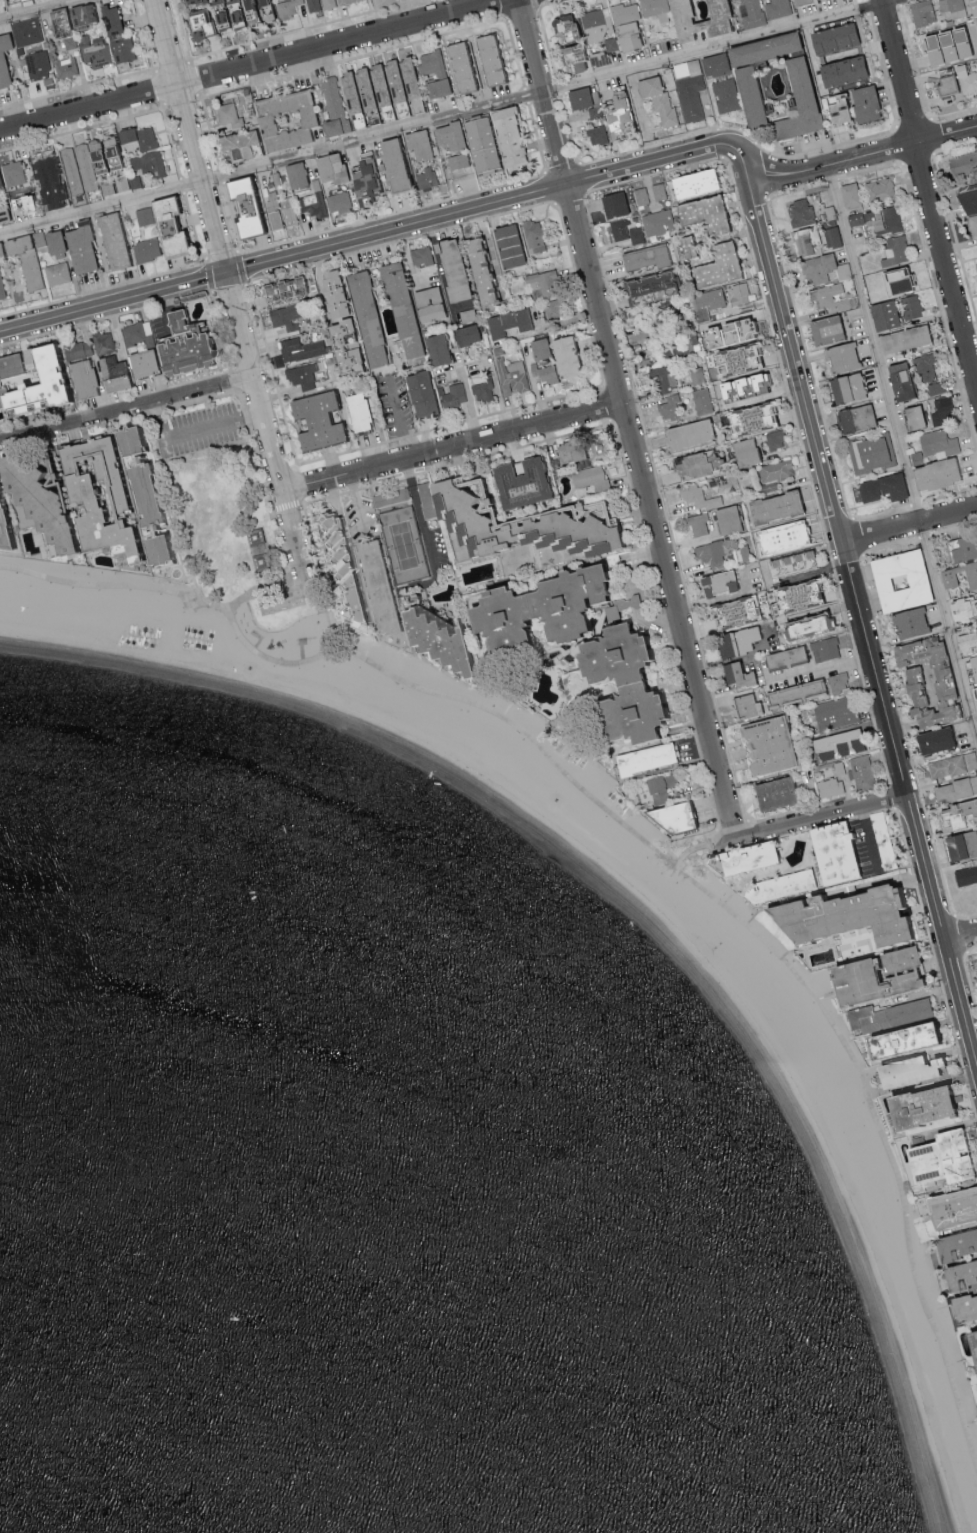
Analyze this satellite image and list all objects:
building: (190, 1)
building: (345, 1)
road: (548, 1)
road: (552, 1)
building: (797, 1)
road: (899, 2)
building: (328, 3)
building: (775, 7)
road: (866, 7)
building: (952, 7)
road: (37, 9)
road: (505, 9)
building: (286, 10)
road: (524, 10)
building: (81, 12)
building: (921, 12)
building: (751, 14)
building: (973, 15)
building: (688, 16)
building: (109, 19)
building: (199, 23)
building: (596, 23)
building: (625, 24)
building: (60, 25)
building: (564, 27)
road: (301, 29)
building: (25, 30)
road: (184, 31)
road: (143, 34)
building: (831, 37)
road: (545, 38)
building: (944, 44)
building: (121, 47)
building: (761, 47)
building: (94, 50)
road: (514, 54)
building: (572, 56)
road: (355, 57)
building: (597, 57)
building: (3, 58)
building: (429, 63)
building: (714, 63)
building: (37, 65)
building: (65, 66)
road: (172, 66)
building: (458, 66)
road: (915, 66)
road: (255, 67)
road: (882, 69)
building: (840, 70)
road: (192, 78)
building: (966, 78)
building: (345, 81)
building: (394, 82)
building: (945, 84)
building: (363, 86)
building: (436, 86)
road: (557, 86)
road: (78, 87)
road: (160, 87)
building: (725, 94)
building: (748, 94)
road: (525, 95)
building: (578, 97)
building: (690, 97)
road: (181, 98)
building: (657, 99)
building: (798, 101)
building: (863, 102)
building: (332, 107)
building: (835, 107)
building: (614, 112)
road: (958, 112)
building: (227, 114)
road: (640, 116)
road: (445, 117)
building: (284, 118)
road: (897, 126)
road: (738, 127)
road: (81, 128)
road: (568, 128)
road: (210, 129)
building: (124, 133)
building: (447, 134)
building: (597, 134)
road: (189, 135)
road: (932, 135)
building: (506, 136)
building: (145, 137)
road: (537, 137)
road: (170, 139)
road: (720, 142)
building: (237, 143)
building: (416, 143)
building: (479, 144)
road: (648, 145)
road: (825, 146)
road: (864, 154)
road: (919, 157)
building: (94, 159)
building: (456, 160)
building: (146, 163)
building: (391, 163)
building: (963, 163)
building: (329, 167)
road: (561, 167)
road: (762, 168)
road: (867, 170)
building: (14, 171)
building: (294, 173)
road: (653, 173)
road: (221, 175)
building: (425, 177)
road: (582, 178)
road: (832, 179)
building: (0, 181)
building: (47, 181)
building: (692, 182)
road: (181, 184)
road: (549, 187)
road: (797, 188)
building: (878, 189)
building: (658, 190)
road: (930, 191)
building: (969, 191)
building: (849, 194)
building: (640, 195)
road: (570, 198)
building: (338, 202)
building: (23, 203)
road: (495, 203)
building: (614, 203)
building: (312, 204)
building: (272, 209)
building: (288, 210)
building: (799, 211)
building: (3, 213)
road: (390, 213)
building: (702, 213)
building: (143, 215)
road: (232, 216)
road: (949, 216)
building: (875, 219)
building: (657, 222)
building: (972, 223)
building: (165, 225)
road: (192, 226)
building: (625, 230)
building: (533, 236)
building: (831, 236)
building: (38, 238)
road: (401, 239)
building: (111, 240)
building: (53, 242)
building: (804, 244)
building: (506, 245)
building: (686, 245)
building: (79, 248)
building: (145, 249)
building: (894, 249)
road: (221, 254)
building: (419, 255)
building: (645, 257)
building: (23, 258)
building: (716, 264)
road: (241, 267)
building: (449, 267)
building: (975, 267)
building: (823, 268)
building: (478, 269)
traffic signals: (224, 272)
building: (56, 273)
road: (208, 274)
building: (896, 279)
road: (246, 282)
building: (542, 282)
road: (228, 287)
building: (647, 287)
building: (1, 288)
road: (104, 288)
building: (331, 291)
building: (737, 293)
road: (581, 295)
building: (831, 296)
road: (112, 301)
road: (937, 302)
building: (427, 303)
building: (911, 305)
building: (553, 307)
building: (403, 310)
building: (883, 314)
building: (287, 315)
road: (105, 316)
building: (368, 320)
building: (506, 322)
building: (824, 329)
road: (219, 330)
building: (135, 331)
building: (732, 331)
building: (465, 334)
building: (904, 338)
building: (102, 341)
building: (179, 345)
building: (684, 345)
building: (342, 346)
building: (299, 348)
building: (436, 348)
building: (538, 348)
building: (77, 349)
building: (840, 356)
building: (564, 357)
building: (735, 358)
building: (140, 362)
building: (646, 362)
building: (9, 364)
building: (927, 372)
building: (546, 373)
road: (272, 374)
building: (302, 375)
building: (511, 375)
building: (695, 375)
building: (81, 378)
road: (234, 379)
building: (898, 380)
road: (252, 381)
building: (34, 383)
building: (753, 383)
building: (845, 386)
road: (815, 387)
building: (482, 389)
building: (419, 393)
building: (452, 394)
building: (701, 400)
building: (723, 401)
road: (607, 404)
road: (125, 406)
building: (668, 406)
building: (356, 411)
road: (252, 416)
building: (912, 416)
road: (118, 417)
building: (854, 417)
road: (625, 418)
building: (750, 418)
building: (314, 419)
road: (398, 419)
road: (449, 424)
parking lot: (199, 427)
road: (184, 432)
building: (687, 434)
building: (122, 438)
building: (775, 439)
building: (938, 443)
road: (451, 447)
building: (568, 451)
building: (744, 451)
road: (902, 452)
building: (868, 453)
building: (916, 457)
road: (457, 461)
building: (691, 464)
road: (808, 468)
building: (777, 470)
road: (277, 473)
building: (934, 473)
building: (589, 477)
building: (518, 482)
road: (263, 484)
road: (298, 484)
building: (884, 487)
building: (139, 489)
road: (949, 494)
building: (47, 495)
building: (153, 495)
building: (389, 496)
building: (698, 497)
building: (108, 498)
road: (177, 498)
road: (284, 498)
road: (358, 501)
road: (915, 503)
building: (773, 506)
road: (664, 508)
road: (419, 514)
building: (726, 519)
road: (910, 519)
building: (8, 520)
building: (697, 523)
building: (509, 524)
road: (953, 528)
road: (294, 531)
park: (240, 535)
building: (780, 536)
road: (857, 536)
road: (923, 536)
building: (259, 538)
road: (314, 545)
park: (404, 545)
road: (889, 545)
building: (151, 546)
building: (336, 546)
building: (965, 548)
building: (743, 552)
building: (710, 553)
building: (792, 562)
building: (264, 563)
building: (948, 578)
building: (899, 580)
building: (718, 582)
building: (380, 586)
road: (300, 590)
building: (796, 593)
park: (26, 595)
building: (351, 605)
building: (616, 608)
building: (541, 610)
building: (732, 611)
road: (863, 615)
building: (909, 622)
building: (806, 625)
building: (976, 626)
road: (669, 634)
building: (438, 640)
building: (736, 640)
building: (966, 641)
building: (825, 647)
building: (784, 657)
building: (973, 666)
building: (736, 673)
building: (926, 680)
building: (838, 681)
building: (627, 686)
building: (976, 691)
building: (746, 706)
building: (836, 712)
building: (934, 740)
building: (836, 744)
building: (765, 745)
building: (643, 758)
building: (970, 760)
building: (945, 766)
building: (837, 767)
building: (861, 772)
building: (661, 785)
building: (829, 786)
building: (955, 789)
building: (772, 793)
road: (892, 796)
building: (957, 814)
road: (774, 817)
road: (810, 818)
building: (677, 820)
road: (732, 824)
road: (805, 830)
road: (638, 837)
road: (868, 839)
road: (717, 840)
building: (961, 845)
road: (709, 848)
road: (689, 850)
road: (713, 852)
building: (836, 855)
building: (751, 861)
building: (965, 874)
building: (783, 887)
building: (848, 917)
road: (966, 918)
road: (960, 935)
road: (962, 938)
building: (976, 959)
road: (936, 964)
building: (881, 978)
road: (967, 978)
building: (889, 1018)
building: (908, 1042)
road: (908, 1059)
building: (913, 1073)
building: (925, 1110)
park: (852, 1128)
building: (943, 1160)
building: (956, 1211)
building: (960, 1248)
building: (964, 1280)
building: (966, 1312)
building: (975, 1340)

